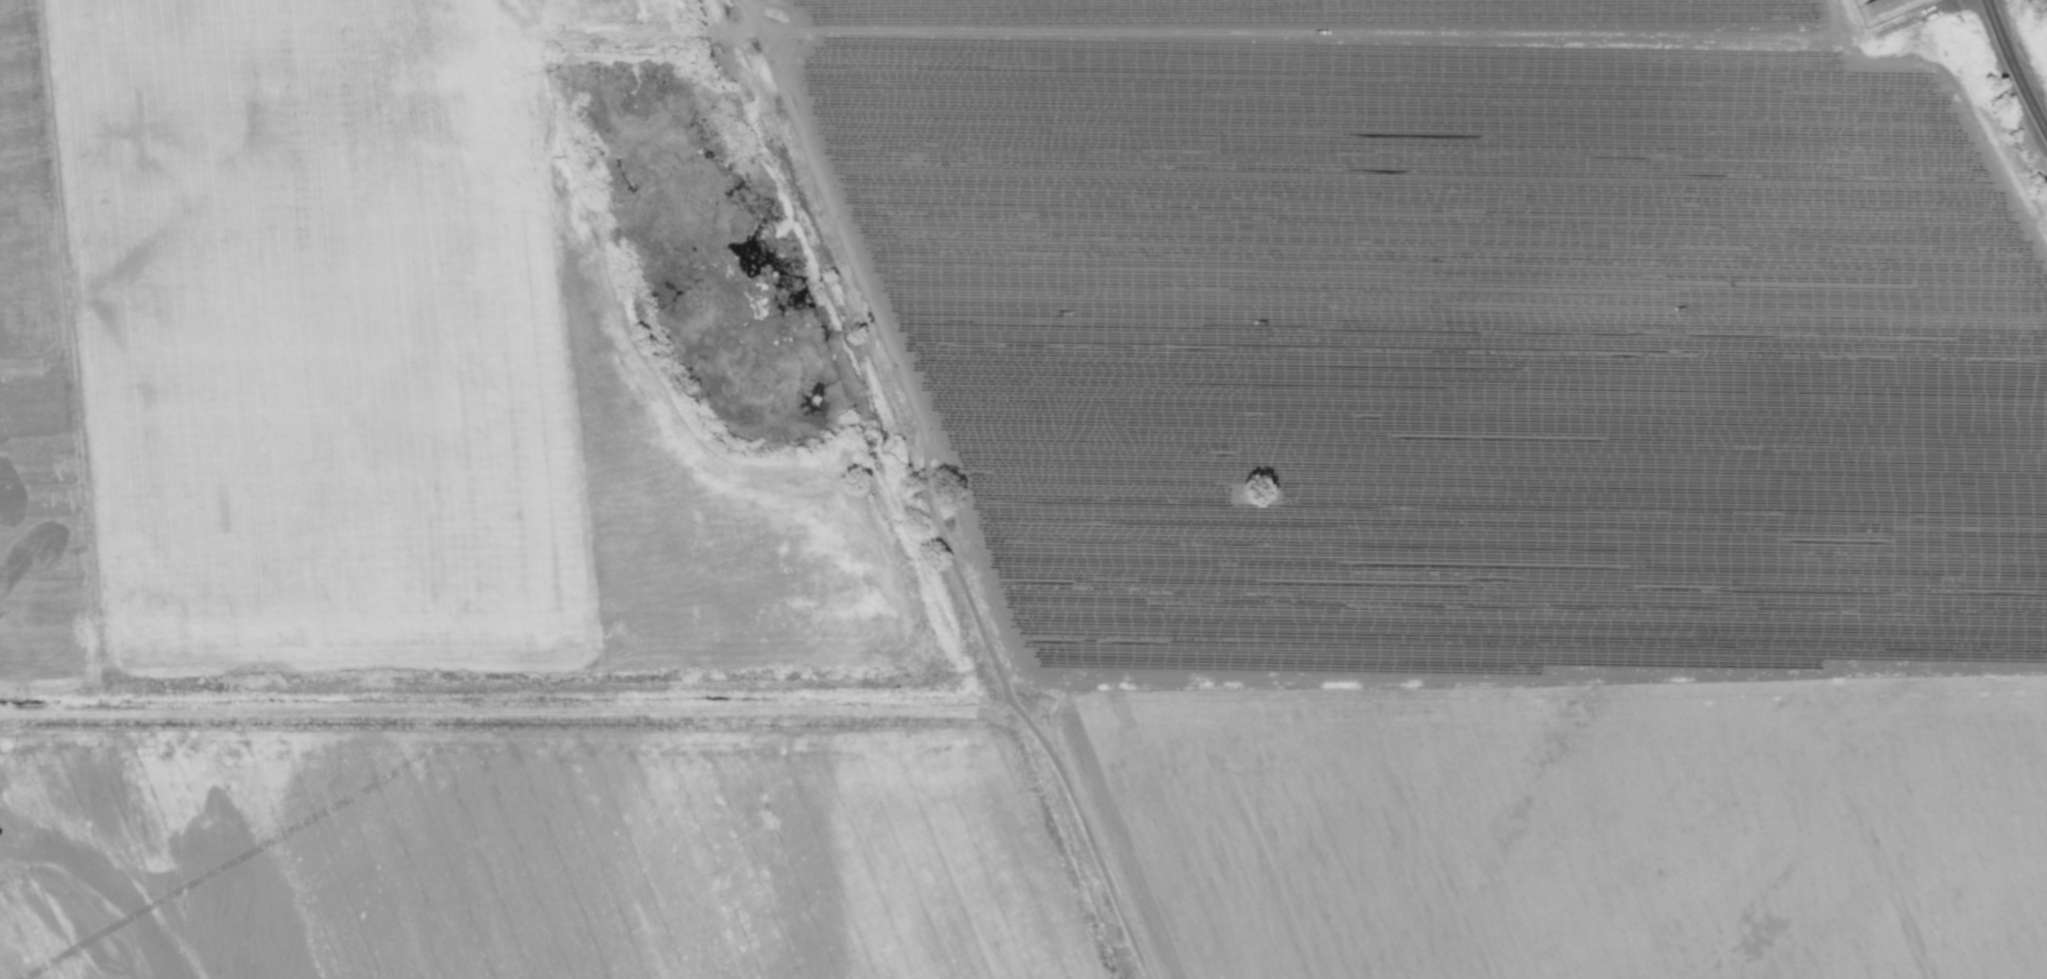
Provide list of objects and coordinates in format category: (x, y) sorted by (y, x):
road: (1952, 0)
building: (1880, 5)
crop: (1342, 15)
road: (1914, 16)
road: (2013, 67)
crop: (1447, 356)
road: (1086, 830)
crop: (1578, 833)
crop: (527, 854)

